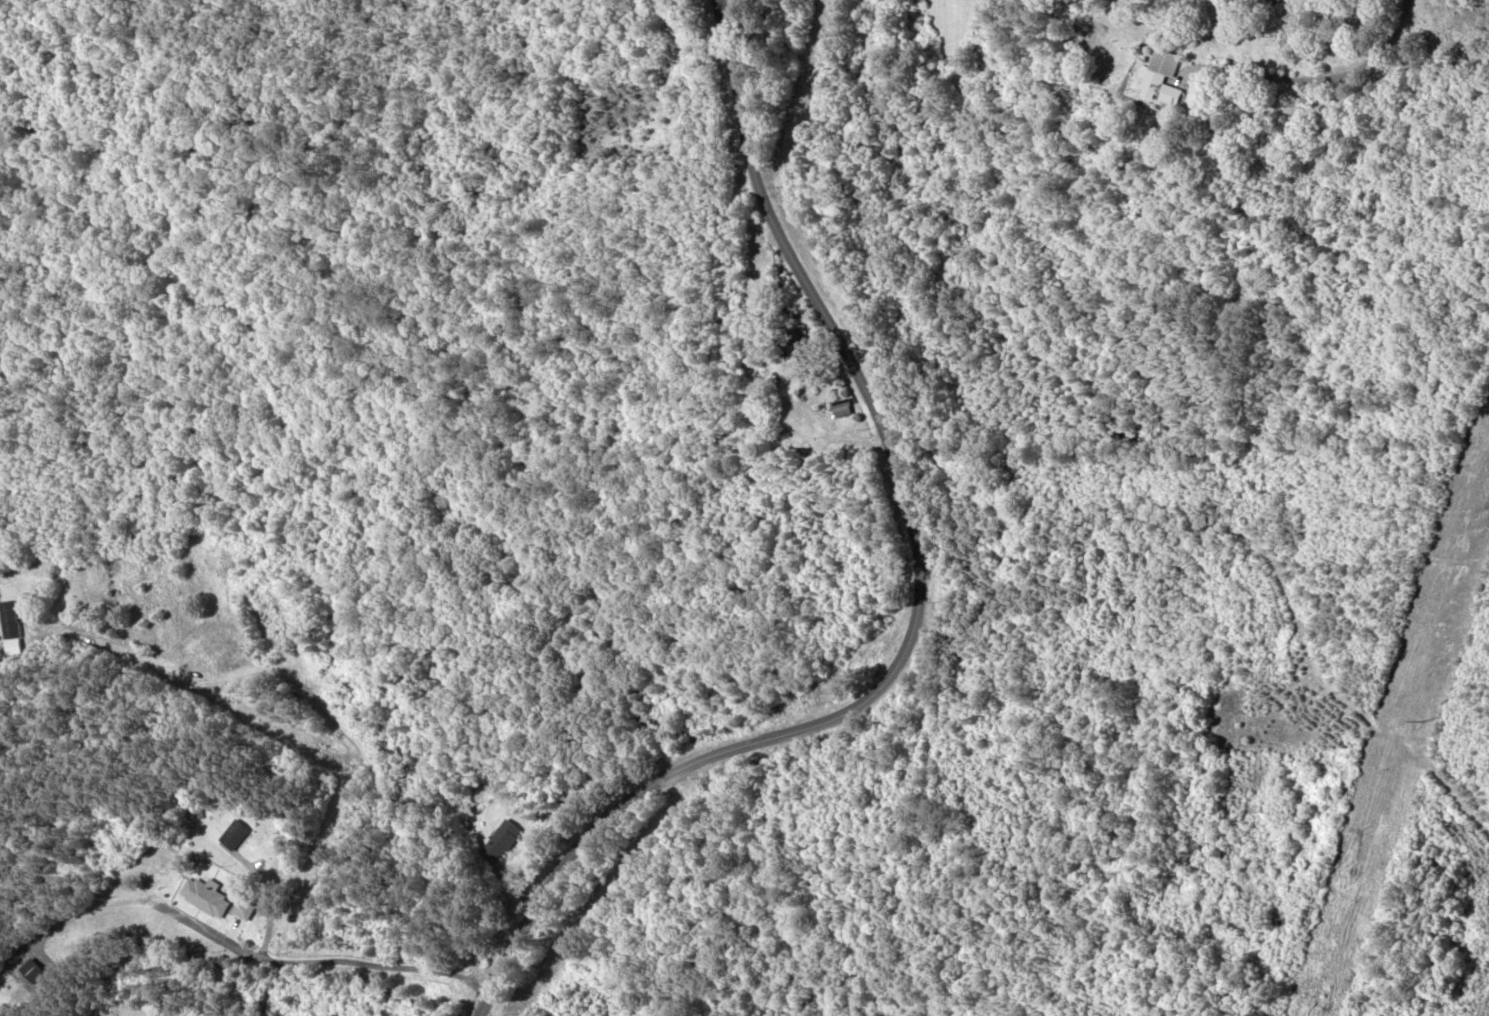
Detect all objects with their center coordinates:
road: (753, 44)
building: (1164, 77)
building: (1299, 111)
building: (801, 340)
building: (842, 408)
road: (931, 599)
building: (10, 619)
building: (236, 835)
building: (503, 840)
building: (206, 897)
building: (245, 909)
building: (33, 972)

